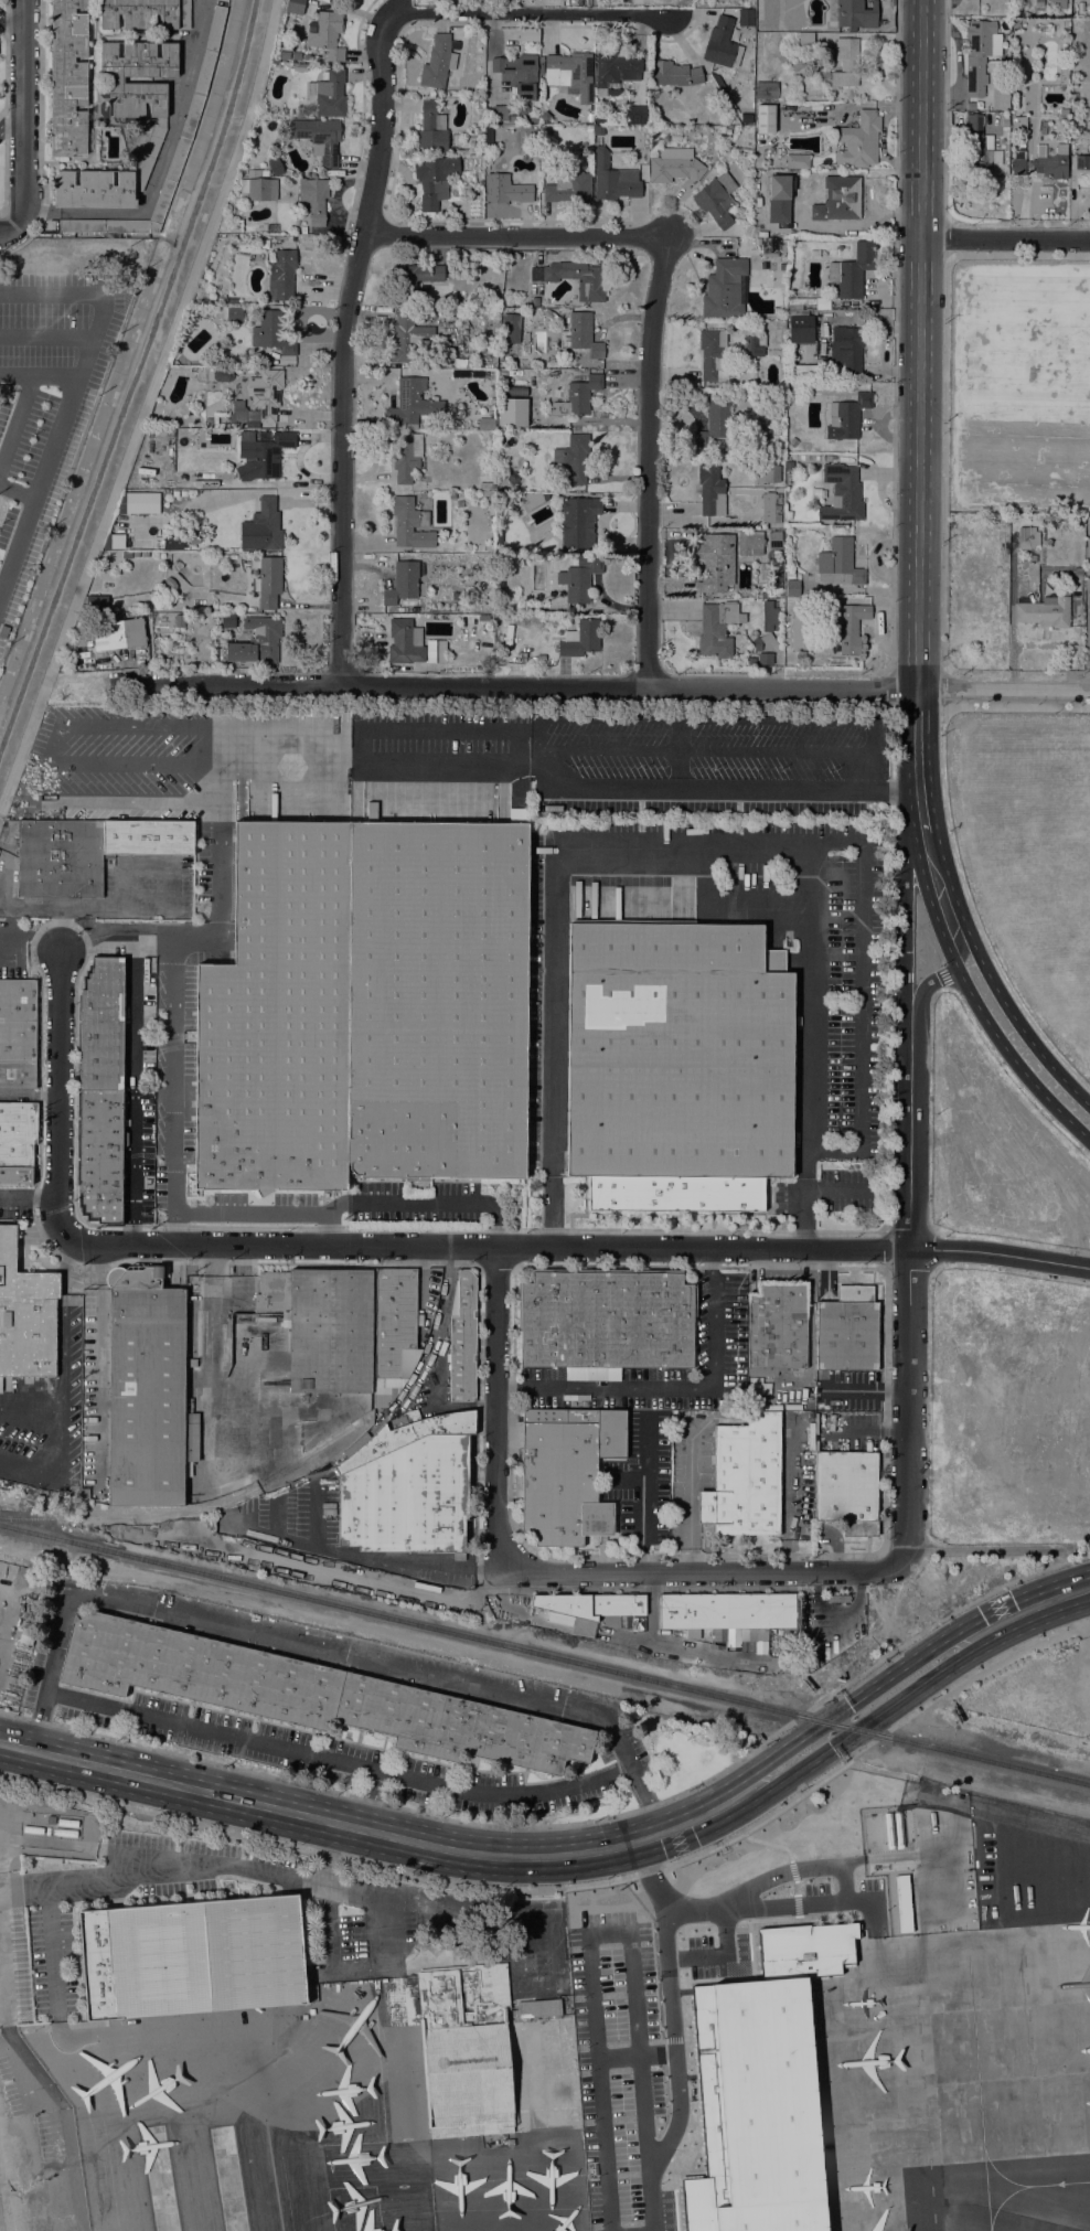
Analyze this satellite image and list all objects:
building: (342, 0)
building: (1038, 4)
building: (1057, 4)
road: (530, 12)
building: (145, 13)
building: (852, 13)
building: (746, 19)
road: (10, 23)
building: (329, 34)
building: (805, 41)
building: (719, 43)
building: (284, 54)
building: (979, 54)
building: (296, 55)
building: (307, 57)
building: (437, 62)
building: (846, 62)
building: (1062, 64)
building: (299, 66)
building: (541, 68)
building: (615, 71)
building: (569, 73)
building: (517, 74)
building: (673, 74)
building: (68, 77)
building: (766, 90)
building: (330, 94)
road: (4, 105)
building: (974, 106)
road: (23, 110)
building: (1064, 111)
building: (495, 114)
building: (192, 115)
building: (635, 115)
building: (589, 117)
building: (545, 118)
building: (746, 118)
building: (765, 118)
building: (599, 119)
building: (535, 121)
road: (10, 124)
building: (1019, 124)
building: (535, 126)
building: (158, 127)
building: (431, 129)
building: (588, 129)
building: (598, 130)
building: (747, 130)
road: (39, 137)
building: (320, 138)
building: (858, 141)
building: (979, 148)
building: (798, 161)
building: (1050, 162)
building: (1082, 162)
building: (276, 166)
building: (674, 166)
building: (1017, 167)
road: (163, 168)
building: (257, 173)
building: (613, 179)
building: (435, 180)
building: (506, 189)
building: (258, 190)
building: (569, 190)
building: (313, 200)
building: (717, 200)
road: (9, 228)
road: (511, 236)
road: (1005, 238)
building: (772, 246)
building: (813, 254)
building: (852, 271)
building: (281, 275)
building: (414, 280)
building: (591, 281)
building: (724, 288)
road: (56, 299)
building: (535, 301)
building: (229, 302)
building: (234, 314)
building: (551, 314)
building: (510, 328)
building: (803, 330)
building: (271, 331)
building: (779, 331)
building: (581, 334)
building: (407, 337)
road: (53, 338)
building: (755, 345)
road: (919, 345)
road: (343, 346)
building: (846, 351)
building: (713, 355)
building: (804, 371)
road: (83, 373)
building: (222, 374)
crop: (1018, 384)
road: (944, 395)
building: (578, 396)
building: (259, 398)
building: (409, 403)
road: (146, 406)
building: (512, 412)
building: (848, 415)
building: (714, 423)
building: (776, 431)
building: (792, 442)
building: (406, 456)
building: (263, 457)
building: (574, 458)
road: (648, 465)
building: (787, 465)
building: (767, 473)
building: (789, 473)
road: (58, 474)
building: (789, 482)
building: (485, 485)
building: (710, 491)
building: (174, 493)
building: (183, 493)
building: (815, 493)
building: (841, 493)
building: (457, 499)
building: (533, 500)
building: (141, 503)
building: (769, 509)
building: (490, 512)
building: (498, 512)
building: (490, 520)
building: (578, 522)
building: (409, 523)
building: (267, 524)
building: (498, 536)
building: (1027, 537)
building: (116, 541)
building: (774, 541)
building: (171, 543)
building: (749, 543)
building: (714, 562)
building: (838, 564)
building: (762, 572)
building: (1077, 572)
building: (581, 578)
building: (267, 580)
building: (402, 583)
building: (791, 588)
building: (96, 601)
building: (1044, 612)
building: (226, 620)
building: (179, 621)
building: (767, 628)
building: (717, 629)
building: (846, 629)
building: (118, 634)
building: (580, 640)
building: (257, 641)
building: (405, 642)
building: (435, 651)
building: (763, 659)
building: (812, 659)
road: (1088, 672)
road: (516, 684)
road: (1003, 691)
road: (142, 724)
road: (515, 726)
road: (45, 761)
road: (286, 761)
road: (355, 762)
road: (917, 762)
road: (135, 764)
road: (522, 769)
road: (719, 789)
road: (127, 801)
building: (2, 834)
road: (952, 845)
road: (678, 847)
building: (88, 852)
crop: (1029, 856)
road: (2, 875)
road: (26, 906)
road: (165, 909)
road: (223, 916)
road: (904, 924)
road: (30, 939)
building: (98, 957)
building: (86, 976)
road: (992, 978)
road: (933, 980)
building: (436, 1000)
building: (78, 1006)
building: (277, 1017)
building: (101, 1026)
road: (992, 1028)
building: (17, 1033)
building: (78, 1039)
building: (677, 1066)
building: (78, 1077)
road: (132, 1086)
road: (170, 1088)
road: (29, 1093)
building: (77, 1102)
building: (77, 1139)
building: (18, 1142)
building: (100, 1154)
building: (77, 1174)
road: (29, 1199)
building: (81, 1206)
building: (122, 1211)
road: (434, 1247)
road: (909, 1305)
building: (25, 1315)
road: (206, 1317)
road: (63, 1320)
building: (393, 1321)
building: (606, 1322)
building: (322, 1327)
building: (776, 1327)
building: (847, 1330)
building: (462, 1338)
road: (98, 1356)
road: (672, 1387)
building: (145, 1388)
road: (496, 1408)
building: (675, 1415)
road: (51, 1433)
building: (404, 1435)
building: (567, 1472)
building: (744, 1479)
building: (846, 1491)
building: (407, 1497)
road: (643, 1497)
road: (691, 1506)
road: (791, 1508)
road: (318, 1513)
road: (272, 1515)
railway: (168, 1516)
railway: (103, 1520)
building: (228, 1528)
road: (370, 1556)
road: (703, 1572)
road: (1046, 1601)
building: (592, 1605)
road: (837, 1608)
building: (727, 1613)
road: (557, 1625)
building: (26, 1635)
road: (677, 1645)
road: (321, 1652)
railway: (544, 1656)
building: (195, 1670)
road: (843, 1706)
building: (459, 1727)
road: (857, 1730)
road: (335, 1762)
building: (50, 1819)
building: (67, 1823)
road: (574, 1824)
road: (348, 1827)
building: (32, 1829)
building: (47, 1832)
building: (64, 1833)
building: (835, 1840)
road: (116, 1853)
road: (329, 1854)
building: (53, 1861)
road: (799, 1869)
road: (202, 1870)
road: (23, 1886)
road: (574, 1886)
road: (611, 1934)
building: (787, 1936)
airport hangar: (195, 1957)
building: (195, 1957)
road: (351, 1973)
road: (537, 1992)
road: (670, 2004)
airport: (554, 2030)
airport hangar: (469, 2048)
building: (469, 2048)
road: (634, 2054)
road: (17, 2107)
building: (510, 2143)
airport taxiway: (1033, 2186)
airport taxiway: (286, 2195)
road: (4, 2201)
building: (925, 2219)

